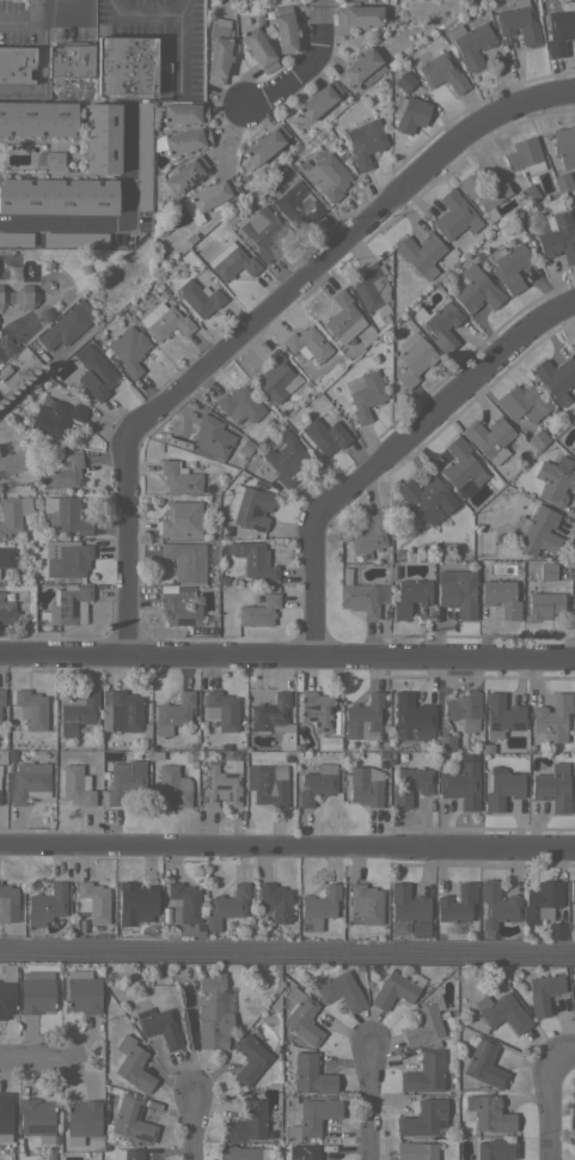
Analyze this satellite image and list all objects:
road: (60, 13)
building: (357, 13)
road: (24, 17)
road: (148, 17)
building: (518, 23)
building: (559, 28)
building: (285, 29)
building: (471, 43)
building: (257, 49)
building: (219, 51)
road: (177, 54)
building: (71, 60)
building: (16, 63)
building: (126, 65)
road: (306, 68)
building: (360, 68)
road: (42, 71)
building: (442, 73)
building: (404, 80)
building: (317, 99)
building: (183, 113)
building: (410, 114)
building: (37, 117)
building: (102, 136)
building: (182, 141)
building: (365, 141)
building: (564, 145)
building: (262, 146)
building: (143, 154)
building: (524, 156)
building: (49, 158)
building: (184, 174)
building: (326, 177)
building: (562, 181)
building: (485, 192)
building: (526, 194)
building: (57, 196)
building: (209, 198)
building: (296, 205)
building: (454, 215)
road: (117, 223)
building: (262, 231)
building: (558, 237)
building: (16, 238)
building: (75, 238)
building: (420, 253)
building: (231, 261)
building: (509, 266)
building: (371, 286)
building: (477, 290)
building: (19, 296)
building: (198, 297)
building: (341, 316)
road: (261, 318)
building: (164, 321)
building: (441, 324)
building: (62, 328)
building: (307, 344)
building: (129, 350)
building: (412, 358)
building: (93, 371)
road: (473, 372)
building: (2, 376)
building: (276, 377)
building: (556, 377)
building: (365, 394)
building: (522, 401)
building: (239, 405)
building: (56, 418)
building: (322, 433)
building: (574, 436)
building: (212, 437)
building: (489, 438)
building: (537, 438)
building: (286, 458)
building: (11, 460)
building: (460, 464)
building: (62, 470)
building: (179, 478)
building: (555, 479)
building: (421, 493)
building: (249, 506)
building: (12, 512)
building: (65, 515)
building: (181, 520)
building: (537, 532)
building: (367, 536)
road: (313, 542)
building: (7, 557)
building: (67, 558)
building: (255, 559)
building: (185, 560)
building: (548, 571)
building: (457, 591)
building: (361, 597)
building: (409, 597)
building: (501, 597)
building: (67, 605)
building: (544, 605)
building: (181, 608)
building: (258, 611)
building: (7, 614)
road: (191, 656)
road: (478, 658)
building: (1, 697)
building: (31, 709)
building: (224, 709)
building: (175, 710)
building: (313, 710)
building: (464, 710)
building: (79, 711)
building: (122, 711)
building: (270, 712)
building: (501, 713)
building: (412, 717)
building: (363, 718)
building: (550, 719)
building: (445, 742)
building: (574, 779)
building: (123, 781)
building: (316, 782)
building: (27, 783)
building: (222, 783)
building: (461, 784)
building: (77, 785)
building: (173, 785)
building: (365, 785)
building: (410, 785)
building: (268, 787)
building: (501, 788)
building: (552, 788)
building: (574, 804)
building: (574, 810)
road: (191, 845)
road: (478, 846)
building: (571, 893)
building: (91, 900)
building: (542, 900)
building: (275, 901)
building: (7, 903)
building: (135, 903)
building: (183, 903)
building: (365, 903)
building: (457, 903)
building: (497, 904)
building: (45, 906)
building: (226, 906)
building: (318, 907)
building: (405, 907)
building: (188, 930)
building: (555, 930)
railway: (287, 942)
railway: (287, 955)
building: (7, 990)
building: (341, 990)
building: (392, 990)
building: (544, 990)
building: (36, 991)
building: (82, 991)
building: (502, 1012)
building: (213, 1014)
building: (301, 1016)
building: (424, 1022)
building: (159, 1026)
building: (250, 1058)
road: (35, 1061)
building: (484, 1063)
building: (133, 1064)
building: (424, 1073)
building: (311, 1075)
road: (548, 1094)
road: (371, 1100)
building: (573, 1111)
building: (488, 1112)
building: (5, 1116)
building: (314, 1116)
building: (422, 1117)
building: (36, 1118)
building: (81, 1119)
building: (131, 1119)
building: (247, 1122)
road: (194, 1124)
building: (416, 1150)
building: (495, 1150)
building: (304, 1152)
building: (130, 1153)
building: (238, 1153)
building: (574, 1159)

